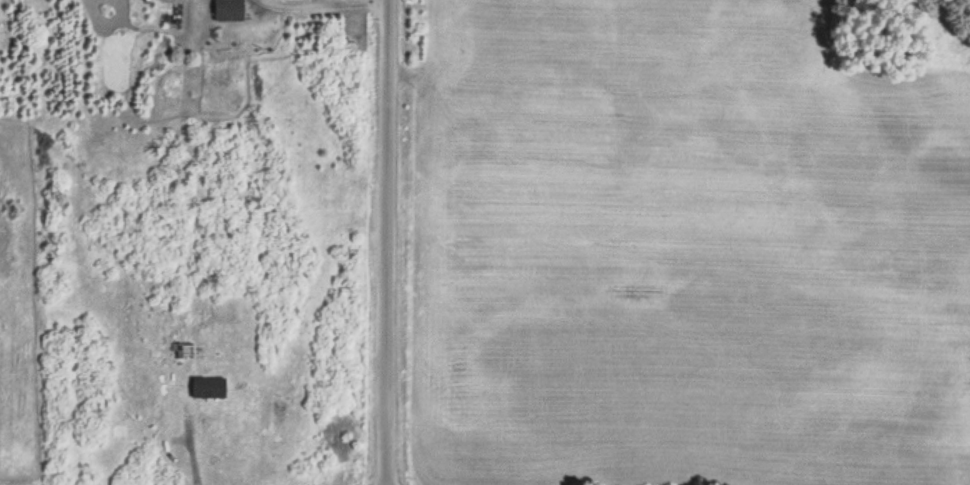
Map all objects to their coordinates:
building: (228, 11)
road: (386, 242)
building: (206, 386)

